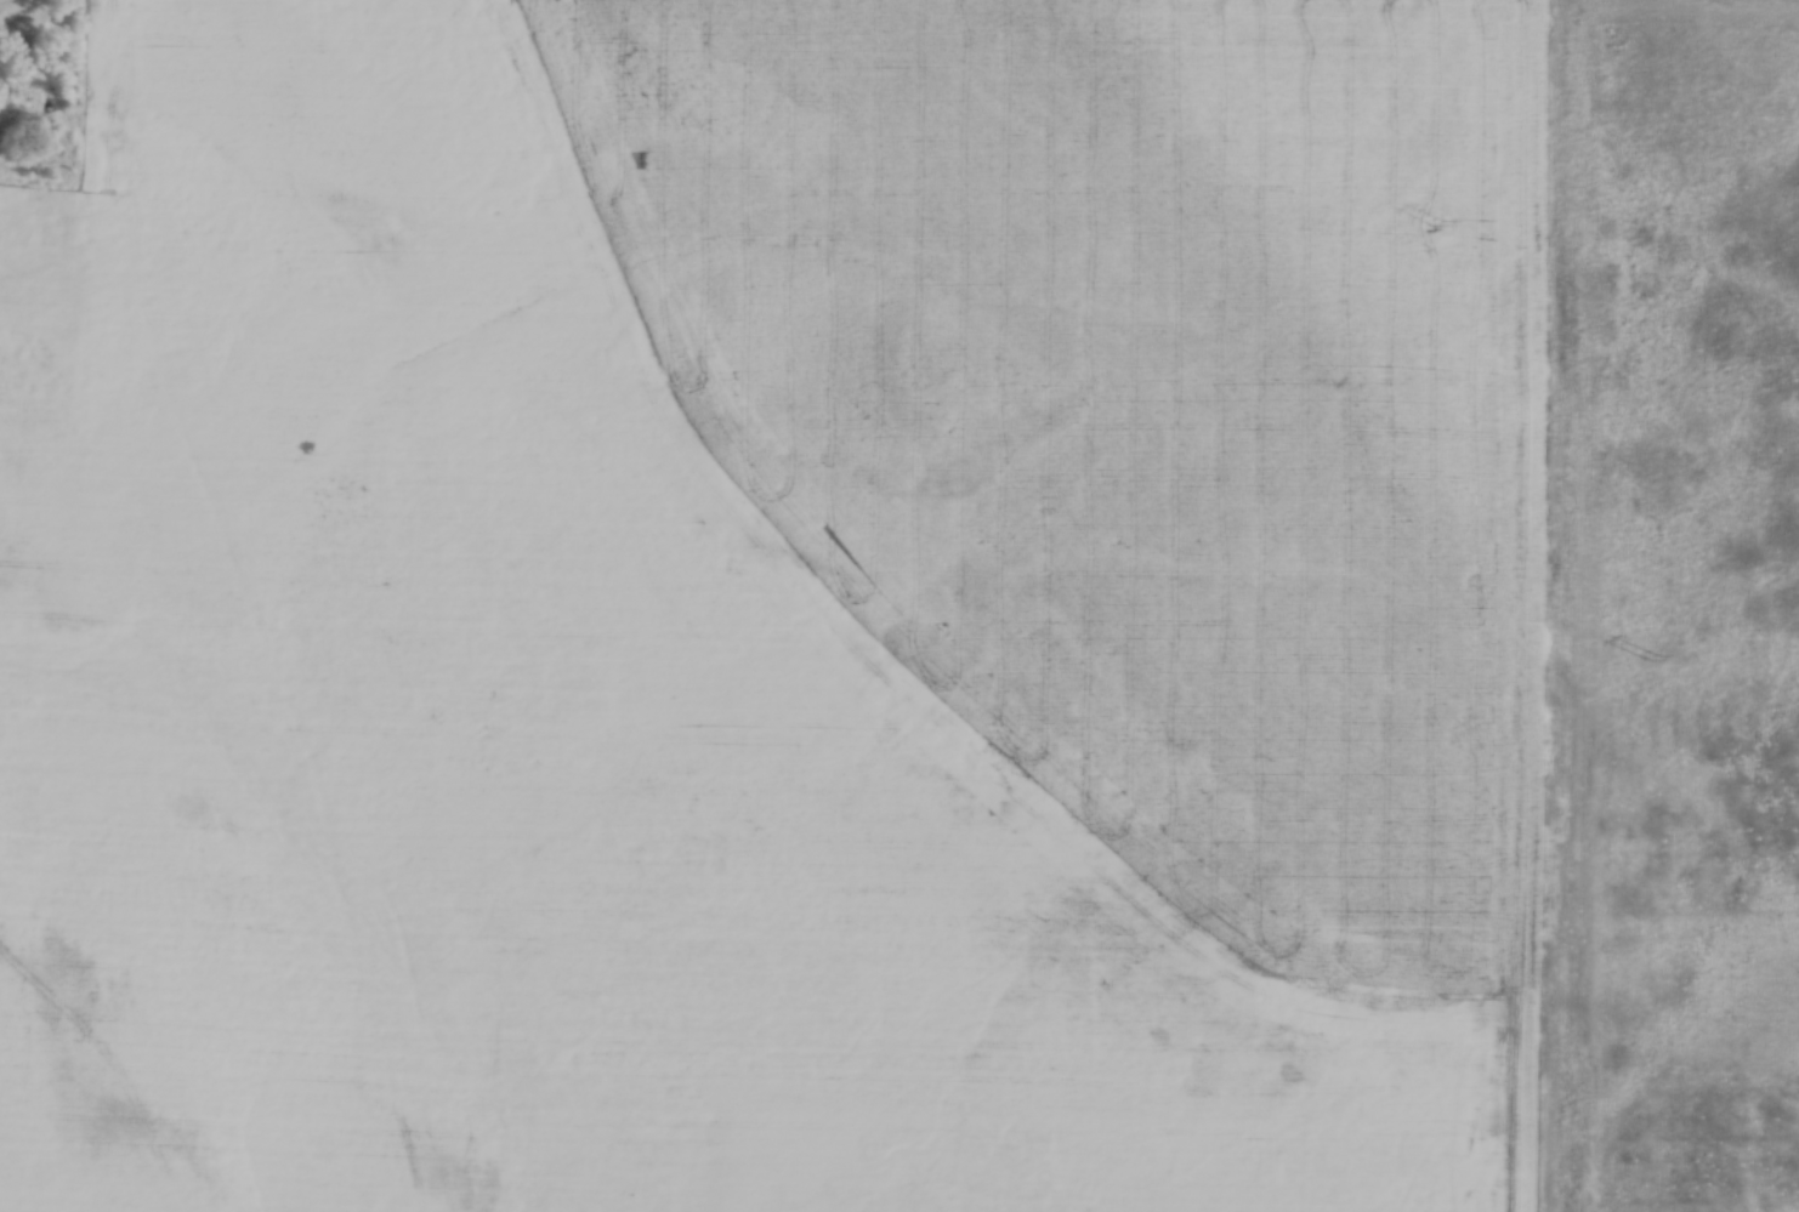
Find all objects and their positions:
power tower: (1441, 221)
power tower: (1655, 655)

